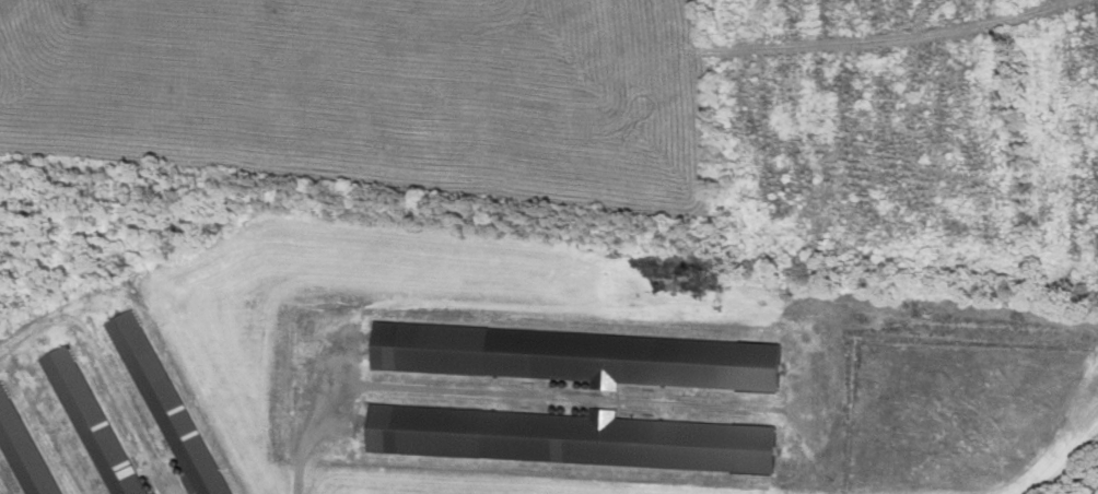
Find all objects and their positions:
building: (166, 403)
building: (90, 422)

